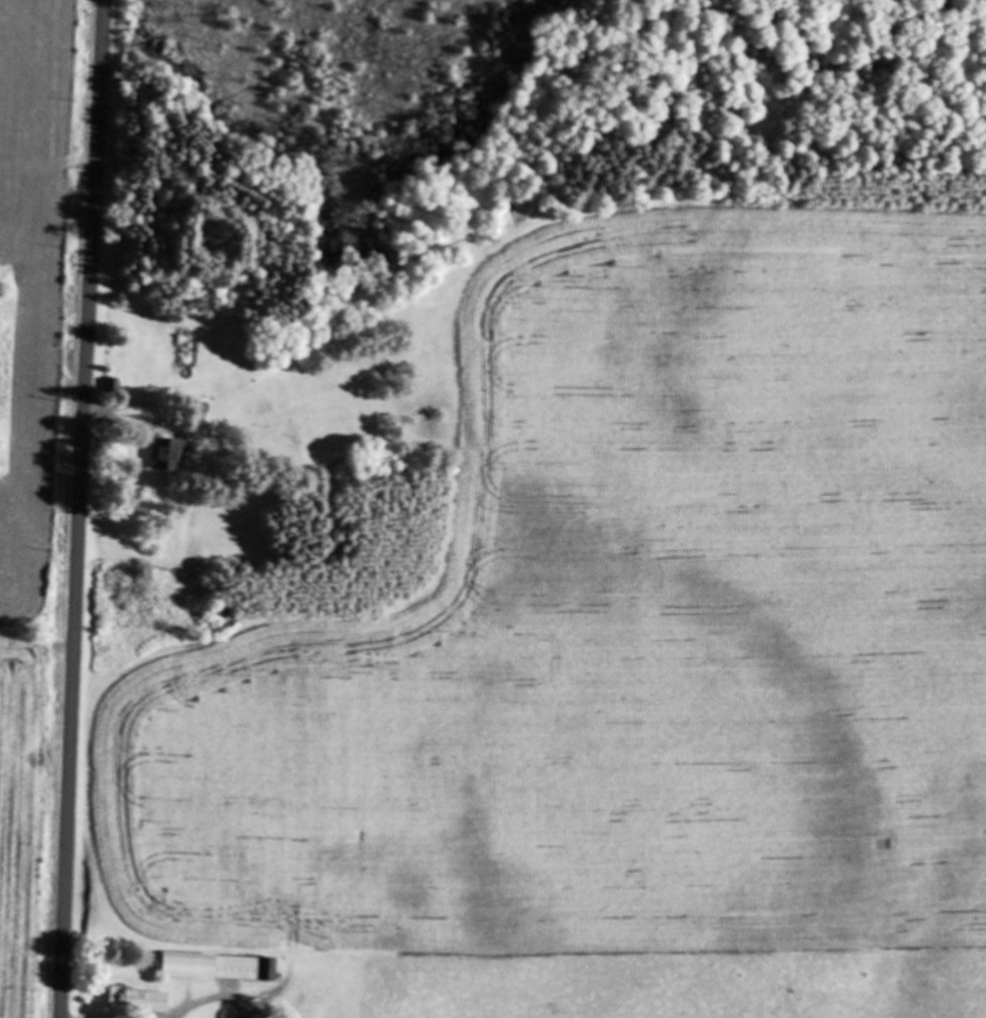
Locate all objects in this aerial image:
building: (119, 359)
building: (199, 415)
road: (115, 417)
building: (167, 454)
road: (80, 508)
building: (213, 968)
building: (136, 1001)

